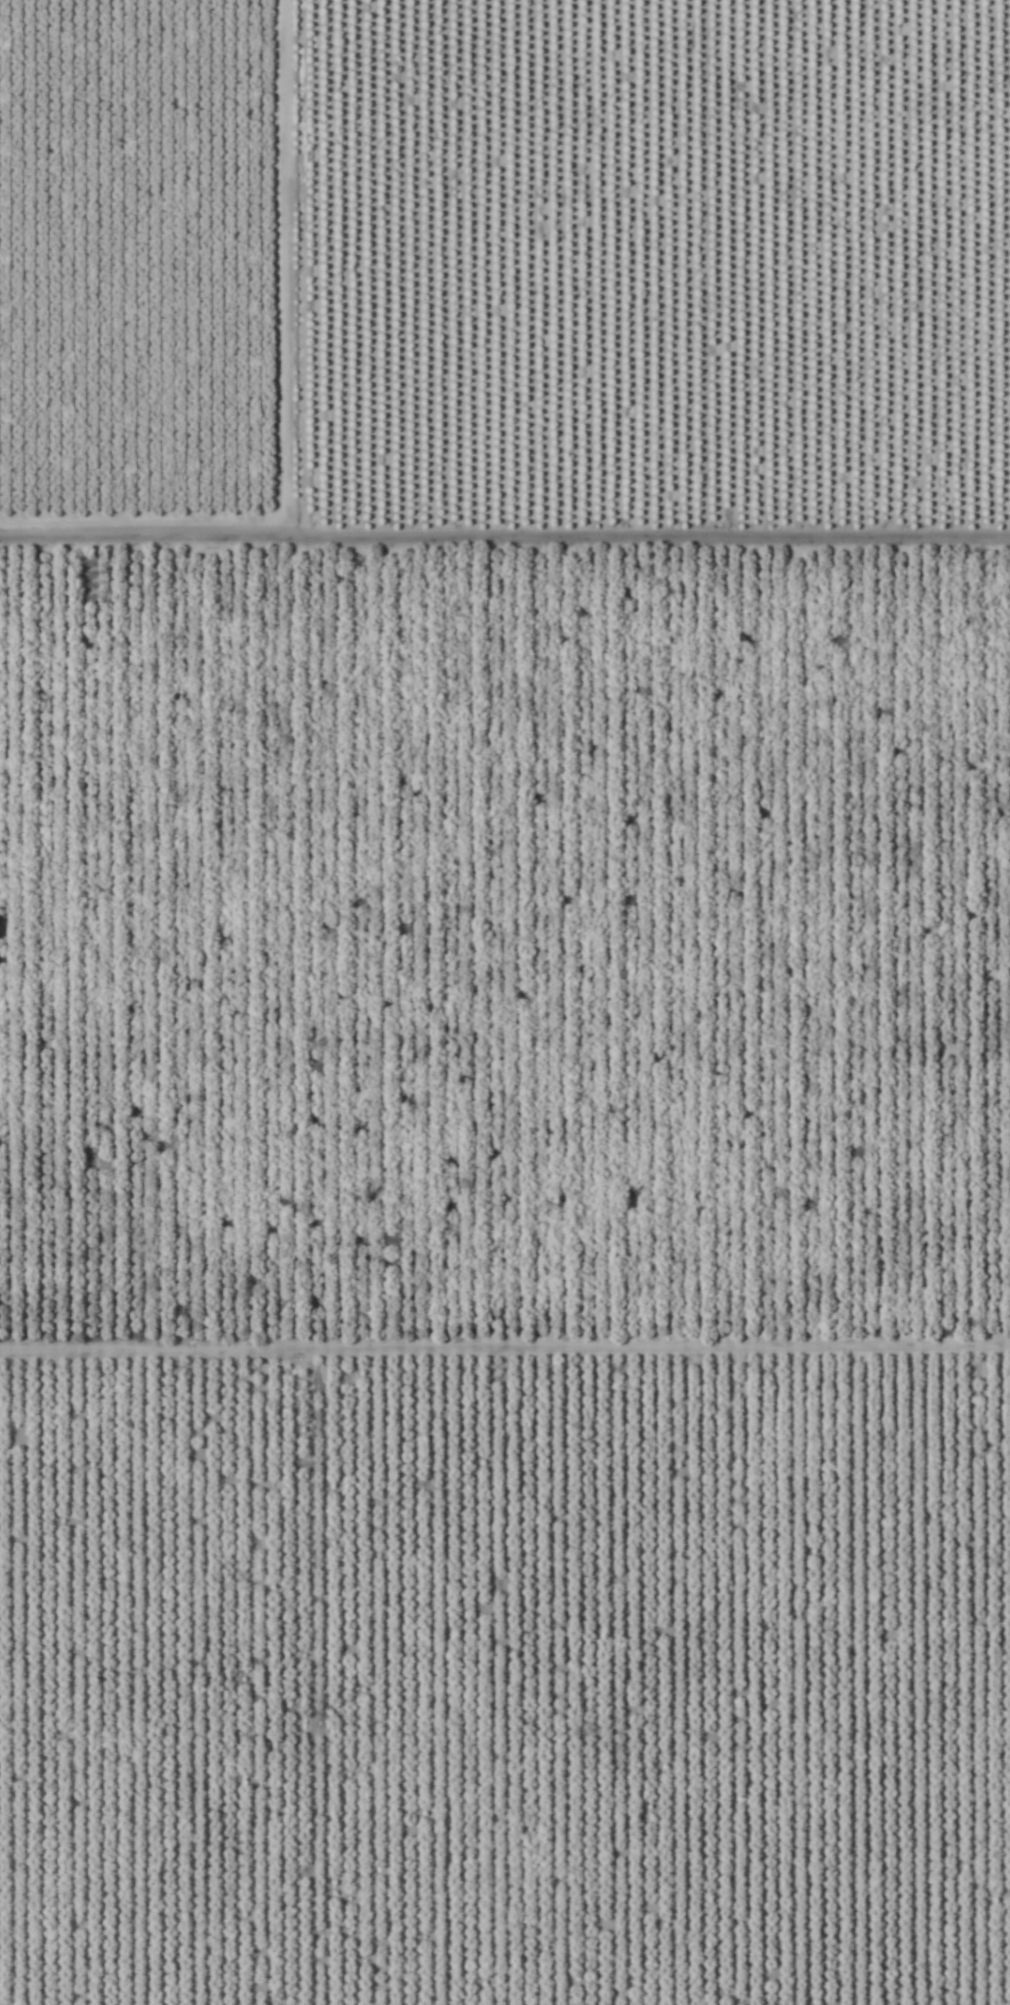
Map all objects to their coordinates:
road: (505, 559)
crop: (505, 1002)

